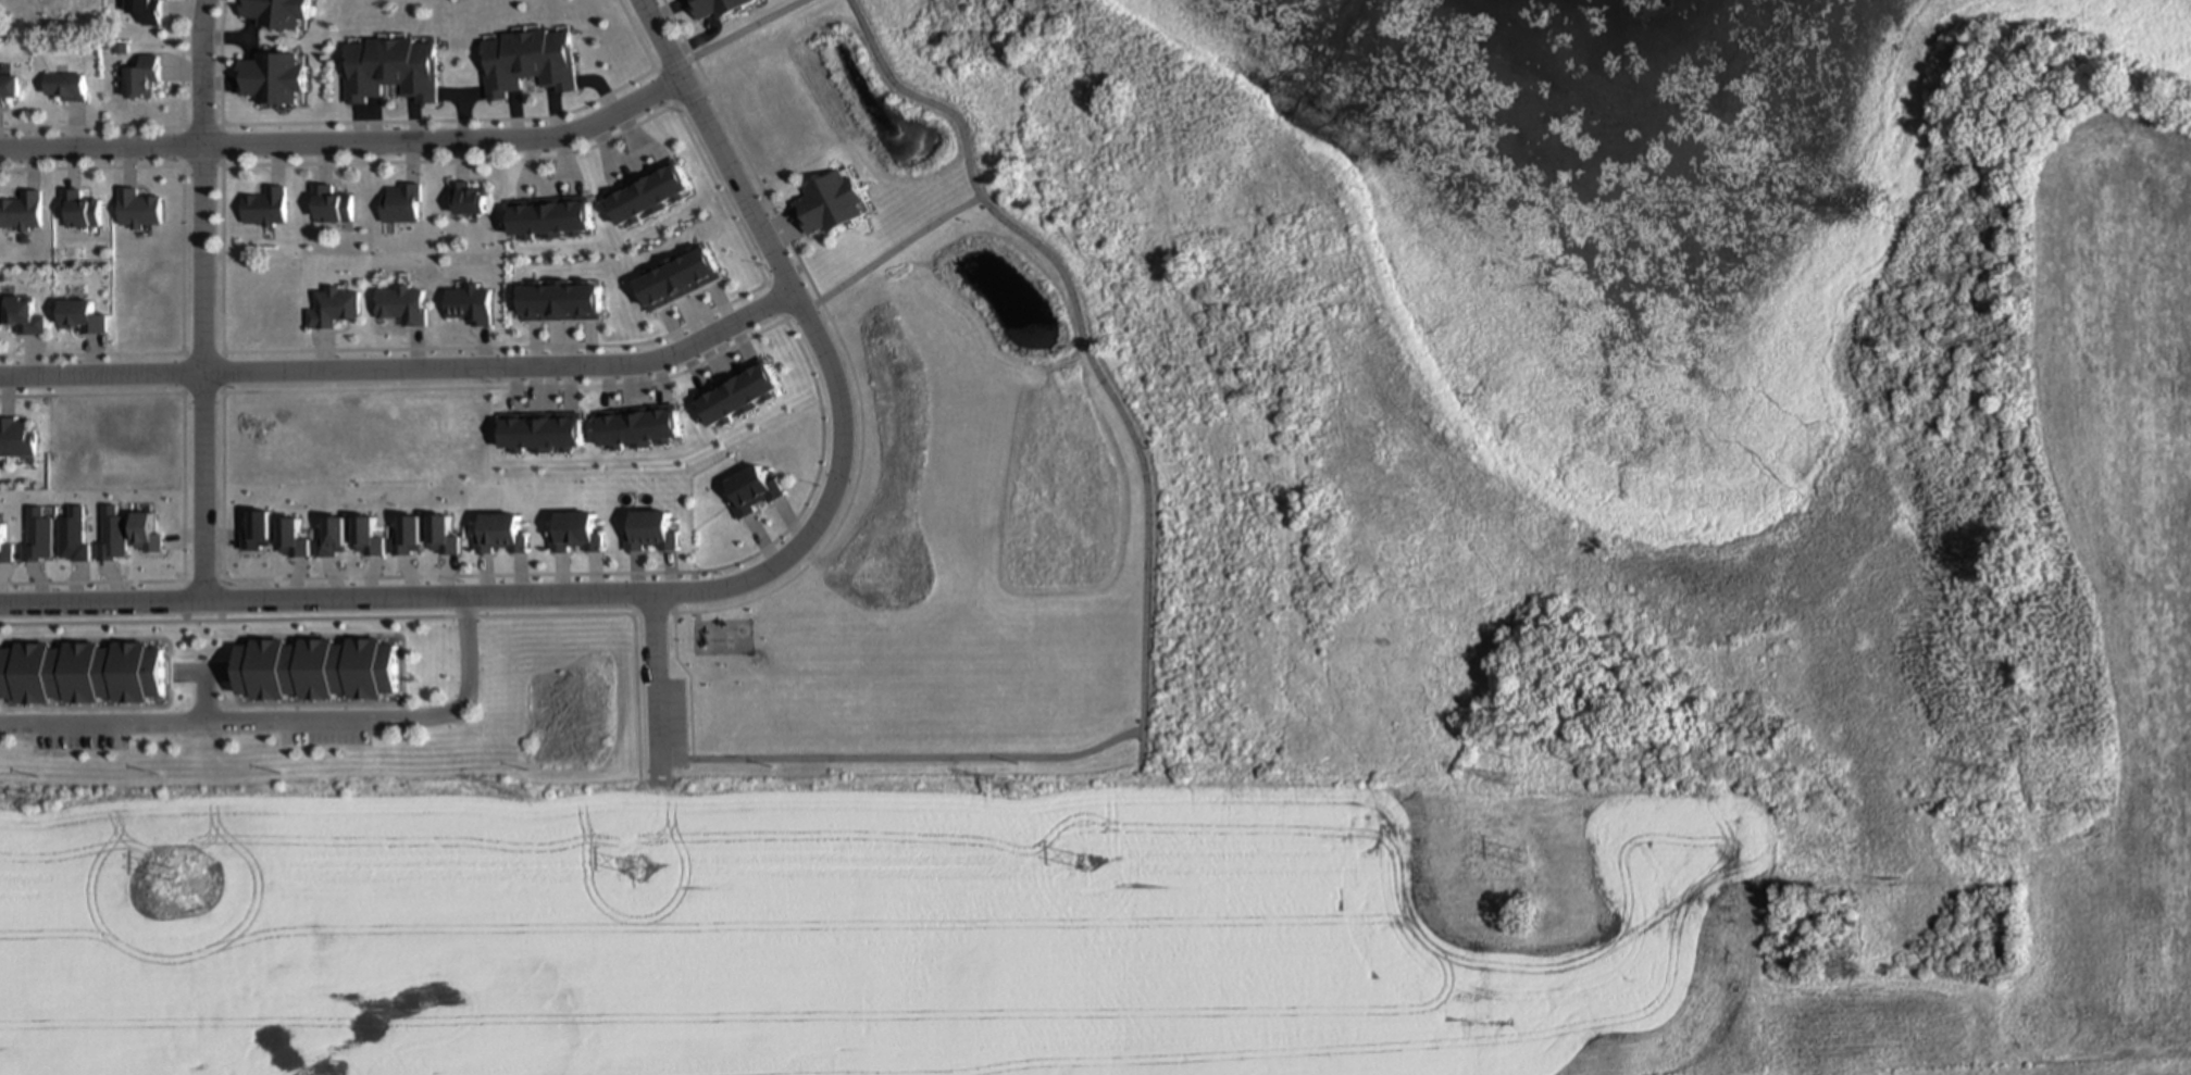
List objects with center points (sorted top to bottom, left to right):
building: (711, 8)
building: (139, 10)
building: (273, 13)
road: (681, 28)
road: (751, 28)
road: (226, 38)
road: (177, 60)
building: (525, 62)
building: (389, 70)
building: (139, 78)
building: (270, 79)
building: (62, 87)
road: (662, 88)
building: (8, 89)
road: (460, 118)
road: (461, 118)
road: (89, 125)
road: (346, 143)
road: (178, 145)
road: (202, 166)
building: (466, 199)
building: (399, 204)
building: (826, 204)
building: (329, 207)
building: (263, 208)
building: (136, 210)
building: (78, 211)
building: (21, 212)
road: (900, 248)
road: (179, 259)
road: (725, 292)
road: (204, 299)
road: (797, 302)
building: (399, 305)
building: (465, 305)
building: (331, 309)
road: (783, 312)
building: (20, 316)
building: (77, 317)
road: (403, 371)
building: (14, 438)
park: (1122, 442)
road: (176, 480)
building: (750, 489)
building: (649, 532)
building: (574, 533)
building: (499, 535)
road: (1147, 538)
road: (368, 597)
building: (313, 671)
building: (79, 674)
road: (660, 677)
building: (646, 703)
road: (288, 716)
road: (689, 754)
power tower: (2002, 775)
power tower: (1508, 783)
power tower: (1018, 788)
power tower: (526, 795)
power tower: (37, 801)
power tower: (2008, 853)
power tower: (1524, 859)
power tower: (1084, 863)
crop: (1236, 867)
power tower: (633, 870)
power tower: (173, 876)

